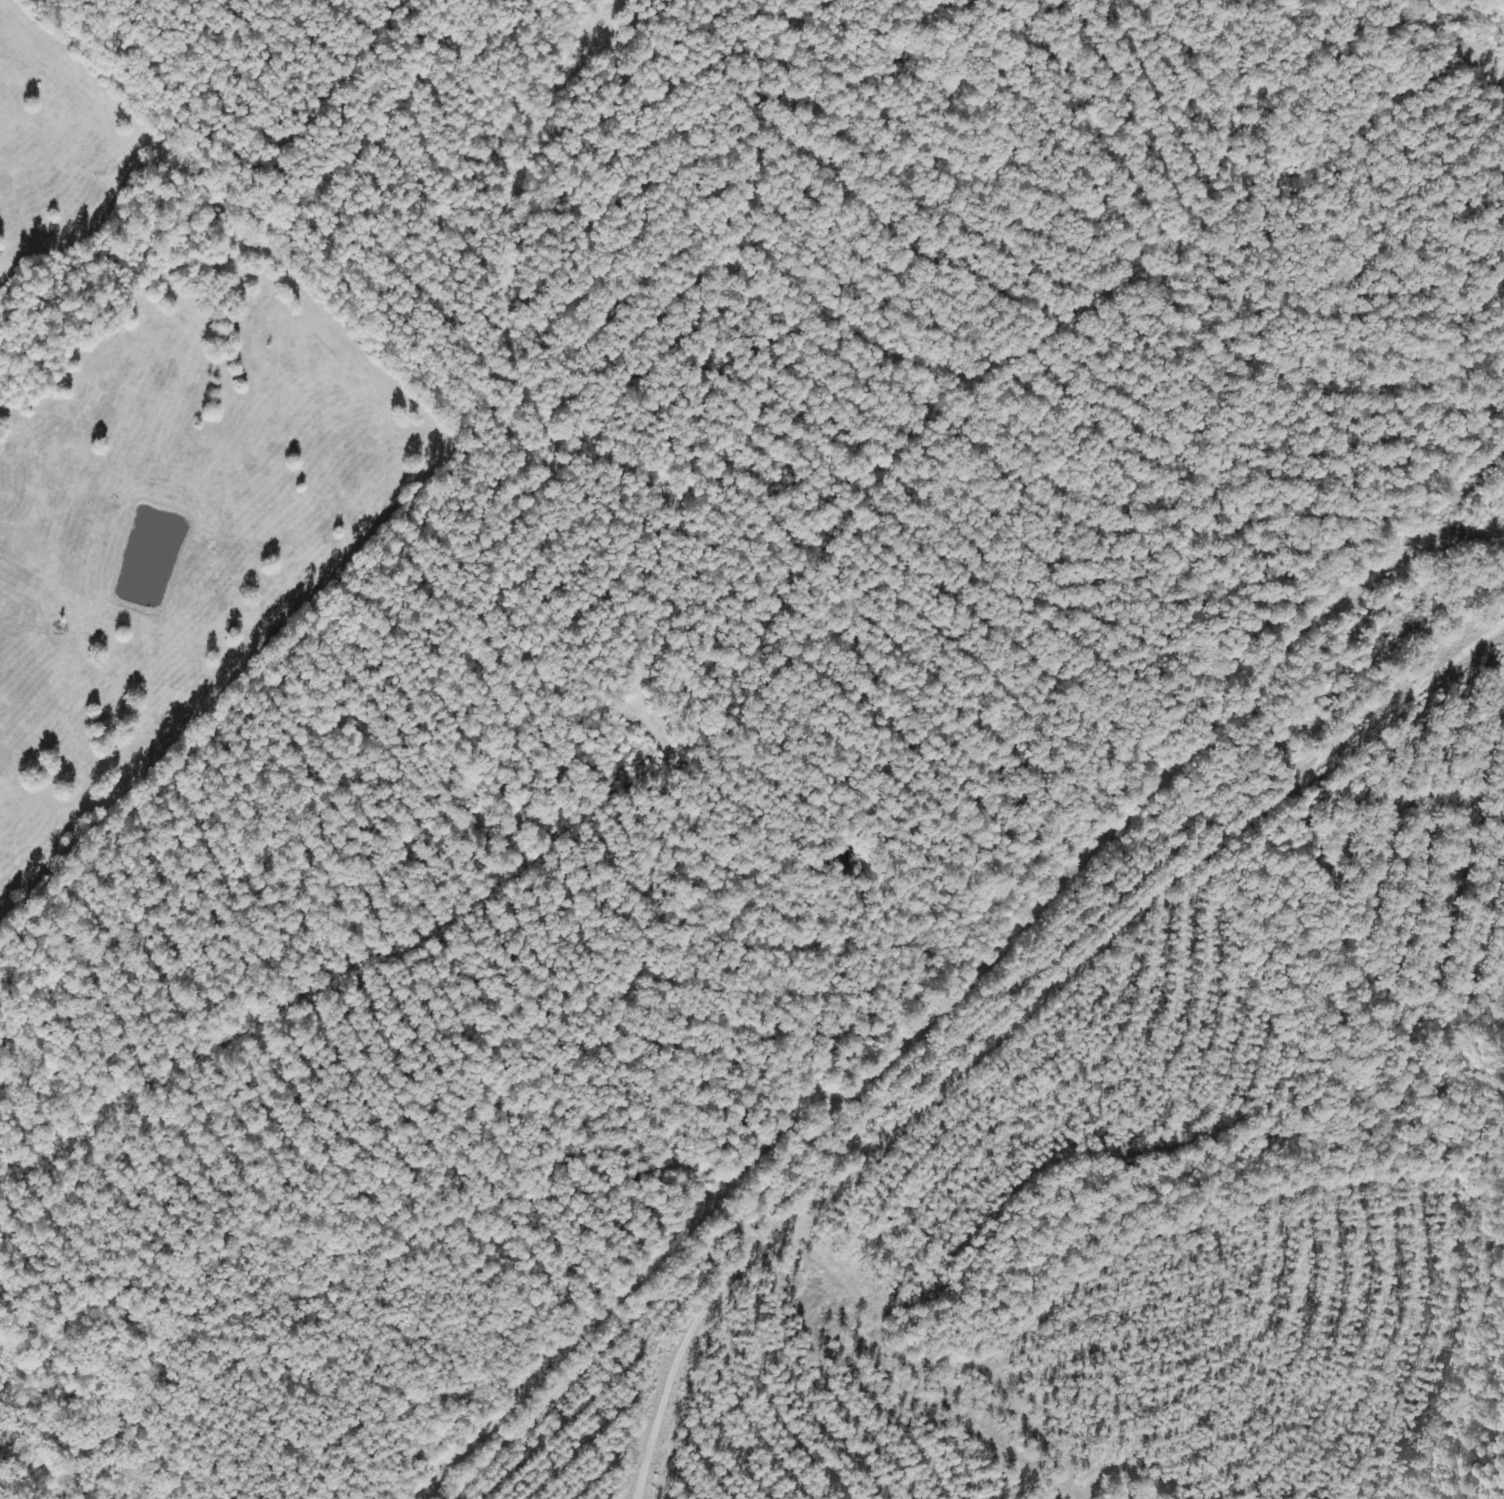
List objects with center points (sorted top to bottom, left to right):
road: (1040, 1033)

